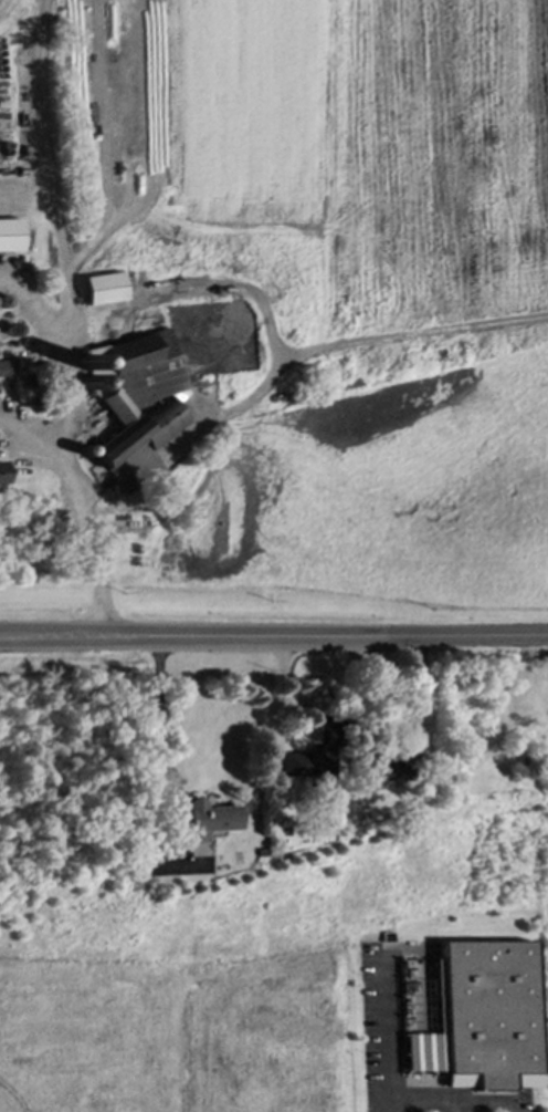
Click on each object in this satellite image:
crop: (11, 18)
road: (102, 144)
building: (8, 235)
crop: (391, 270)
building: (101, 288)
road: (31, 304)
road: (65, 320)
building: (6, 368)
building: (134, 404)
road: (31, 439)
building: (1, 478)
road: (273, 637)
road: (155, 750)
building: (308, 763)
building: (379, 769)
building: (208, 820)
building: (500, 1016)
road: (403, 1031)

